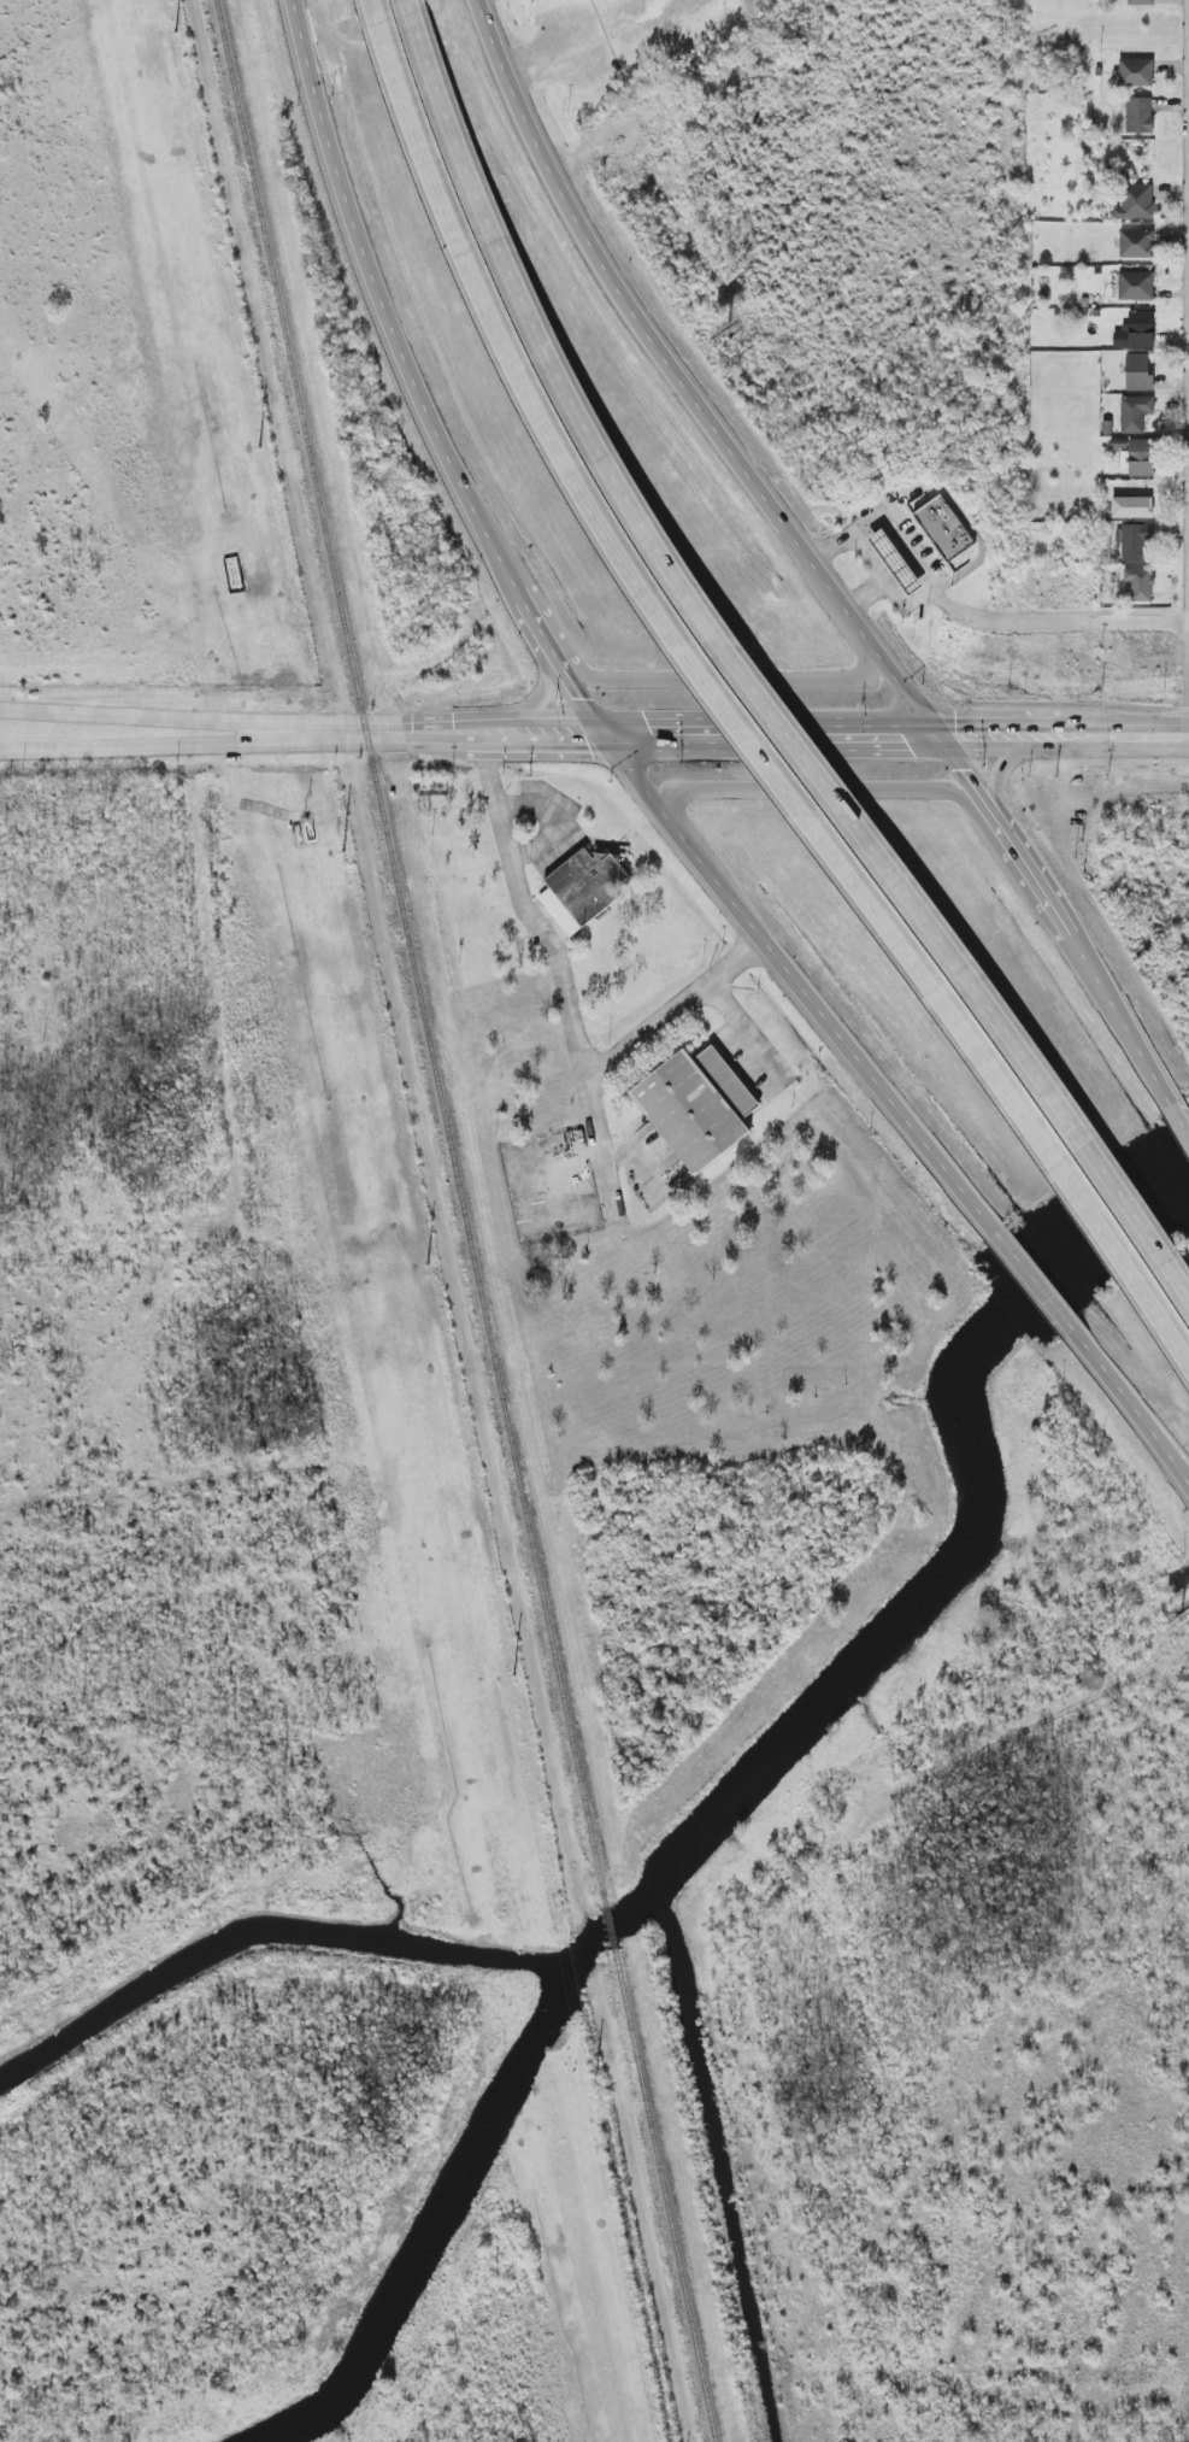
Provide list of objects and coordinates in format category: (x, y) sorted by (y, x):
building: (1141, 2)
road: (407, 8)
road: (373, 12)
power tower: (177, 33)
building: (1136, 72)
building: (1138, 115)
building: (1135, 202)
building: (1136, 243)
building: (1136, 286)
building: (1136, 330)
building: (1138, 372)
building: (1135, 413)
power tower: (260, 448)
building: (1141, 457)
building: (1132, 506)
building: (944, 528)
road: (854, 533)
building: (1136, 541)
road: (804, 560)
building: (895, 562)
gas station: (895, 562)
building: (1140, 583)
road: (997, 620)
road: (564, 657)
road: (541, 679)
road: (726, 679)
road: (751, 687)
road: (184, 717)
road: (490, 721)
road: (737, 722)
traffic signals: (612, 733)
road: (775, 733)
traffic signals: (937, 733)
road: (1002, 733)
road: (1093, 733)
road: (1153, 733)
road: (184, 744)
road: (490, 744)
road: (1016, 756)
road: (842, 789)
power tower: (343, 851)
building: (582, 890)
railway: (413, 953)
road: (567, 999)
building: (697, 1106)
road: (1179, 1119)
road: (600, 1140)
power tower: (428, 1264)
road: (1035, 1284)
road: (1132, 1409)
road: (1188, 1481)
railway: (611, 1930)
railway: (665, 2196)

